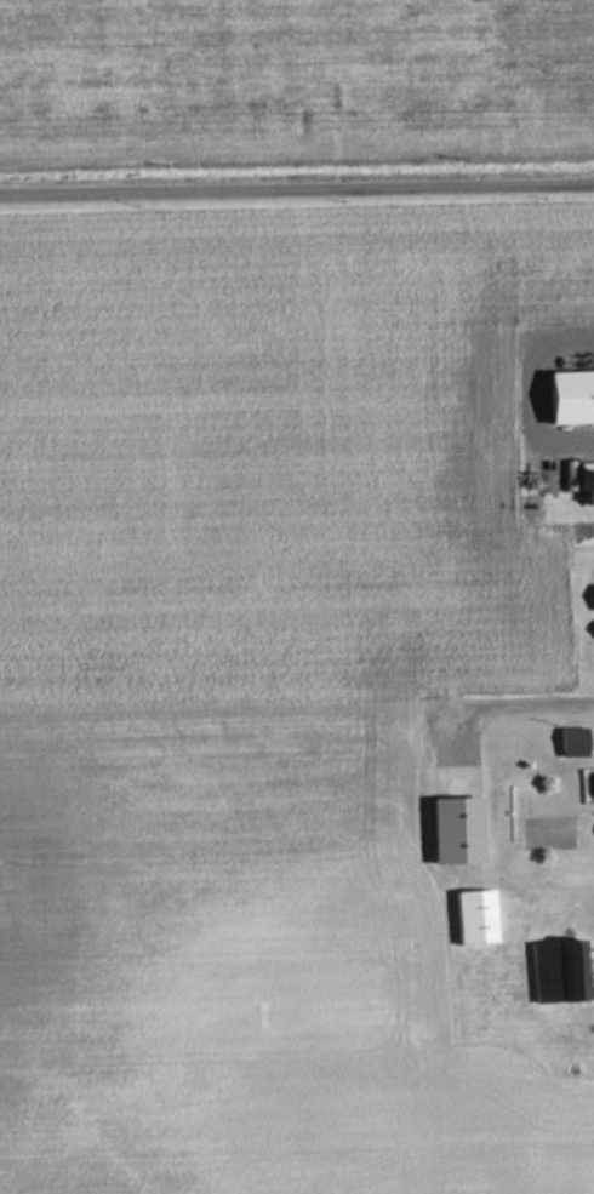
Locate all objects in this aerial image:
road: (297, 182)
building: (564, 396)
building: (582, 468)
building: (589, 598)
road: (499, 707)
building: (565, 742)
building: (445, 830)
building: (590, 832)
building: (464, 918)
building: (552, 971)

